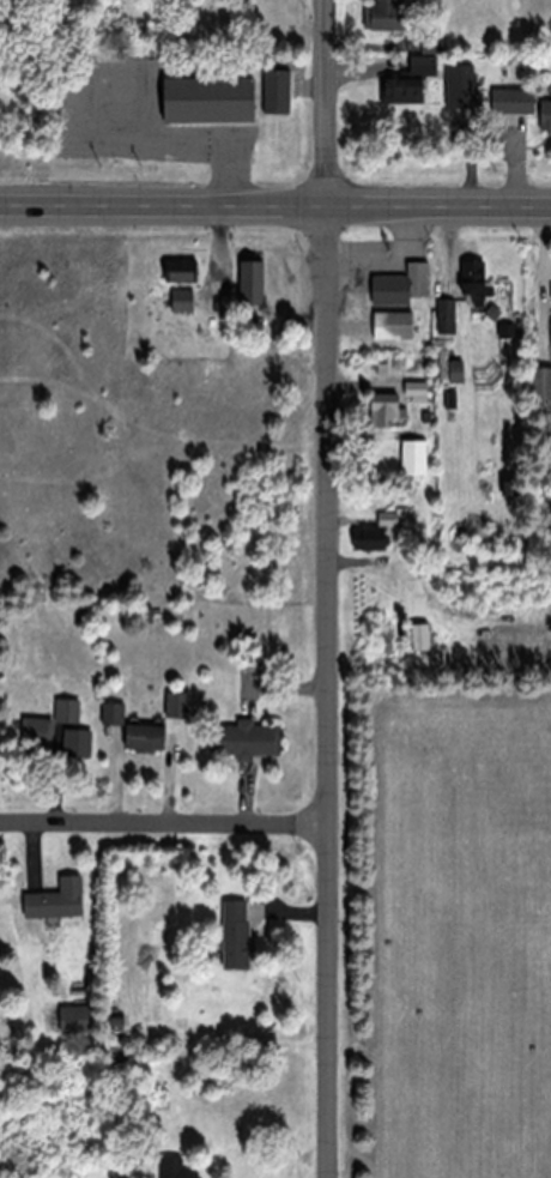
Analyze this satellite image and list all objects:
building: (379, 16)
building: (450, 16)
building: (417, 66)
building: (455, 86)
building: (398, 91)
building: (272, 92)
building: (200, 99)
building: (513, 101)
road: (333, 105)
building: (543, 116)
road: (275, 211)
building: (176, 271)
building: (244, 283)
building: (396, 286)
building: (472, 289)
building: (177, 301)
building: (442, 316)
building: (387, 326)
building: (549, 338)
building: (504, 344)
building: (450, 371)
building: (539, 385)
building: (379, 410)
building: (410, 451)
building: (370, 533)
road: (337, 695)
building: (63, 712)
building: (132, 732)
building: (34, 735)
building: (238, 741)
road: (169, 826)
building: (50, 901)
building: (231, 935)
building: (170, 1168)

